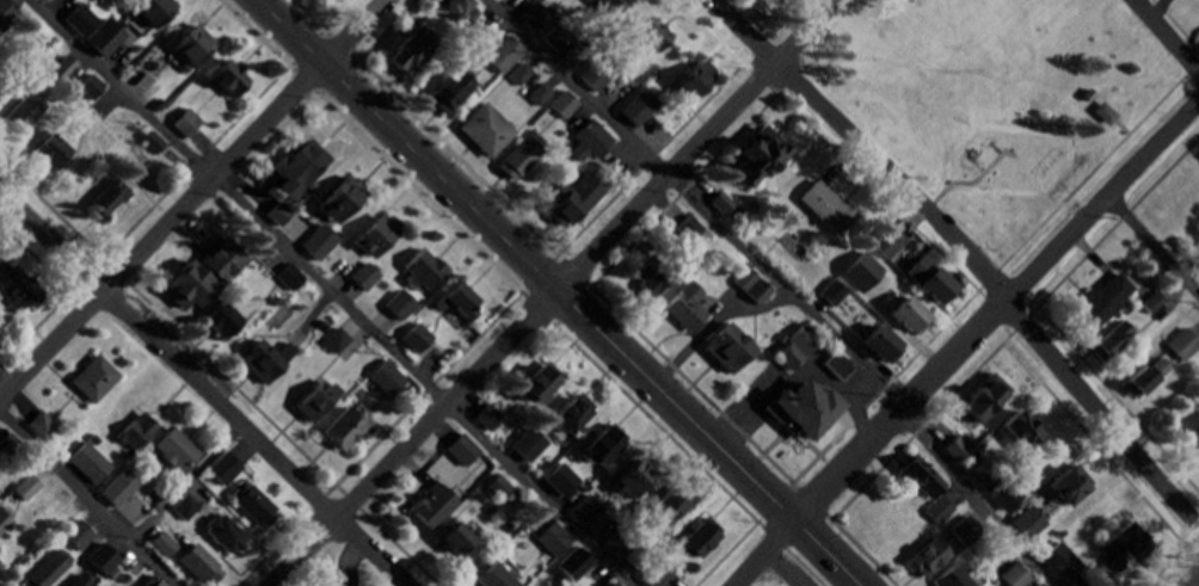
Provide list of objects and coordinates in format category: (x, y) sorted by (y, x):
road: (1168, 35)
park: (1000, 103)
building: (1099, 111)
road: (1121, 124)
road: (966, 180)
road: (187, 195)
road: (674, 201)
road: (696, 202)
road: (1152, 245)
road: (967, 253)
road: (42, 263)
road: (521, 291)
road: (559, 291)
road: (598, 291)
road: (332, 292)
road: (521, 292)
road: (554, 295)
road: (943, 325)
road: (965, 343)
road: (996, 347)
road: (220, 372)
road: (205, 388)
road: (187, 482)
road: (88, 498)
road: (974, 500)
road: (1169, 560)
park: (791, 573)
road: (1194, 582)

